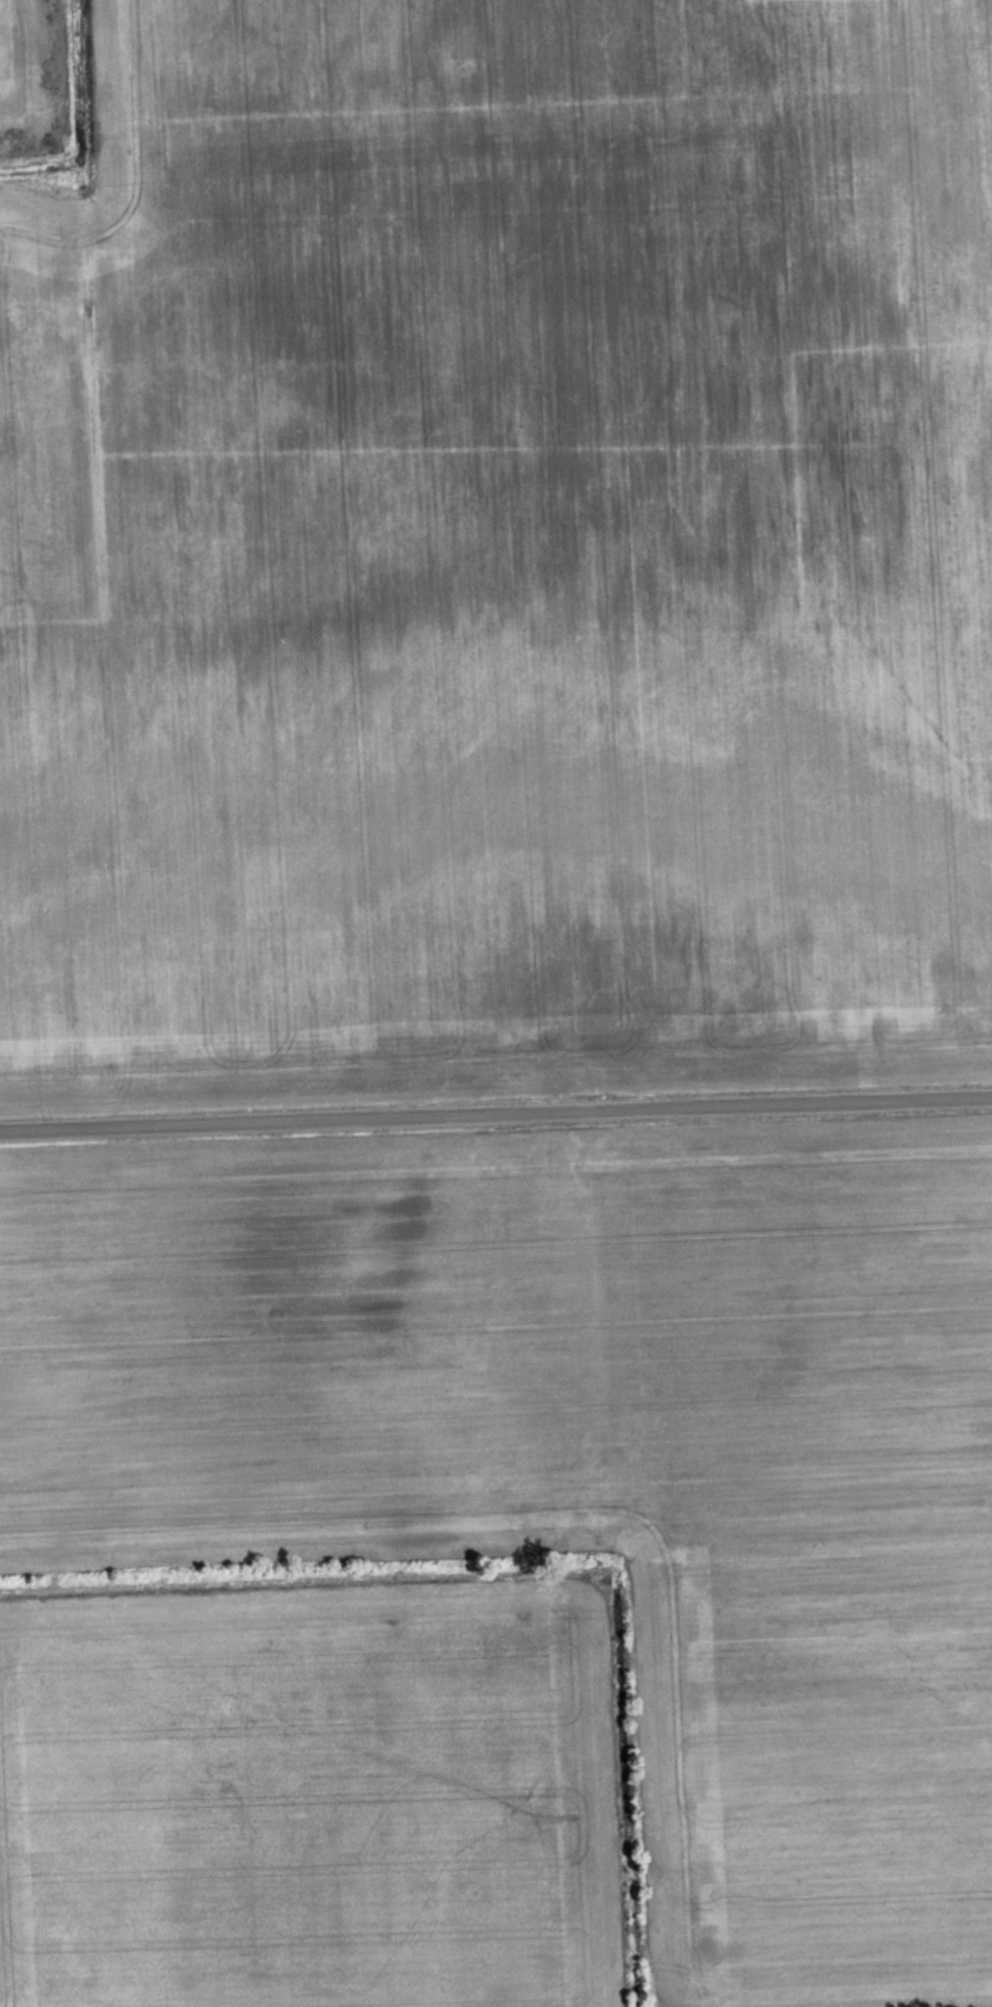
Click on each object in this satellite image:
road: (496, 1118)

